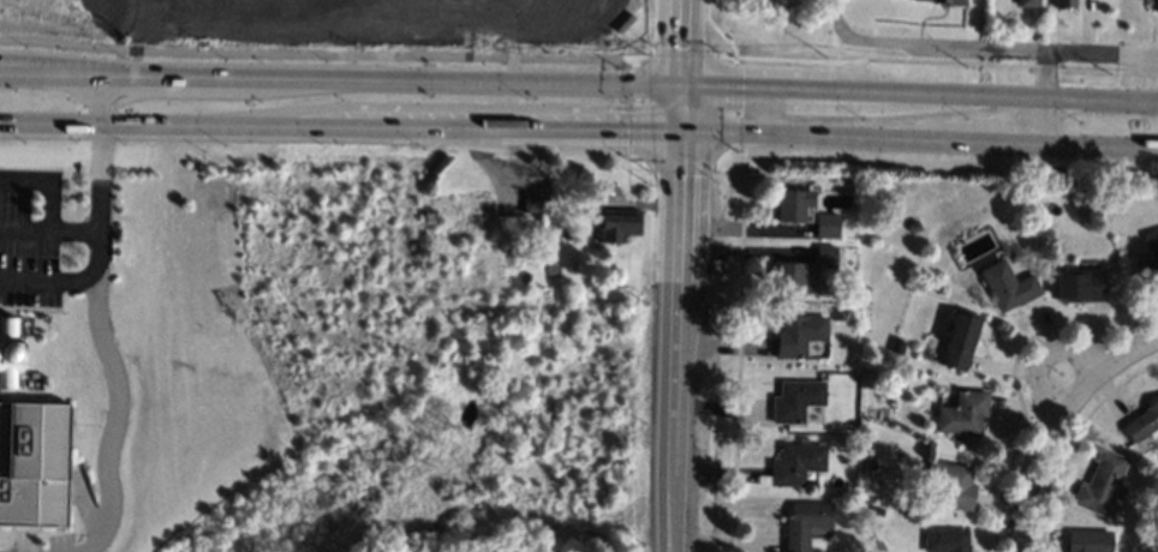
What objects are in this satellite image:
building: (945, 1)
building: (1026, 2)
building: (1062, 4)
building: (1154, 6)
road: (121, 24)
road: (718, 32)
road: (855, 40)
road: (686, 41)
traffic signals: (686, 47)
road: (1032, 48)
road: (320, 54)
road: (639, 55)
road: (681, 55)
road: (936, 60)
road: (49, 62)
road: (49, 77)
road: (237, 79)
road: (530, 80)
traffic signals: (740, 85)
road: (920, 91)
road: (1041, 96)
road: (730, 104)
traffic signals: (740, 104)
road: (684, 106)
road: (466, 107)
road: (828, 107)
traffic signals: (626, 109)
road: (634, 112)
road: (247, 124)
road: (590, 127)
traffic signals: (625, 128)
road: (818, 136)
road: (997, 143)
road: (1099, 146)
road: (933, 163)
road: (635, 164)
road: (678, 164)
traffic signals: (682, 175)
road: (47, 182)
road: (560, 196)
building: (533, 202)
building: (793, 205)
building: (826, 227)
building: (914, 227)
building: (615, 228)
road: (47, 229)
building: (538, 230)
building: (567, 234)
building: (1152, 248)
building: (825, 257)
building: (788, 278)
road: (46, 282)
building: (1008, 286)
building: (1080, 287)
building: (838, 316)
road: (96, 330)
building: (798, 335)
road: (678, 340)
building: (959, 340)
road: (736, 347)
building: (899, 347)
building: (16, 354)
road: (1121, 366)
building: (900, 386)
building: (795, 401)
building: (962, 414)
building: (1144, 424)
building: (849, 425)
building: (848, 448)
building: (34, 463)
building: (796, 464)
building: (870, 466)
road: (1038, 466)
building: (1102, 484)
building: (951, 485)
building: (877, 512)
building: (806, 523)
building: (945, 540)
building: (1090, 541)

